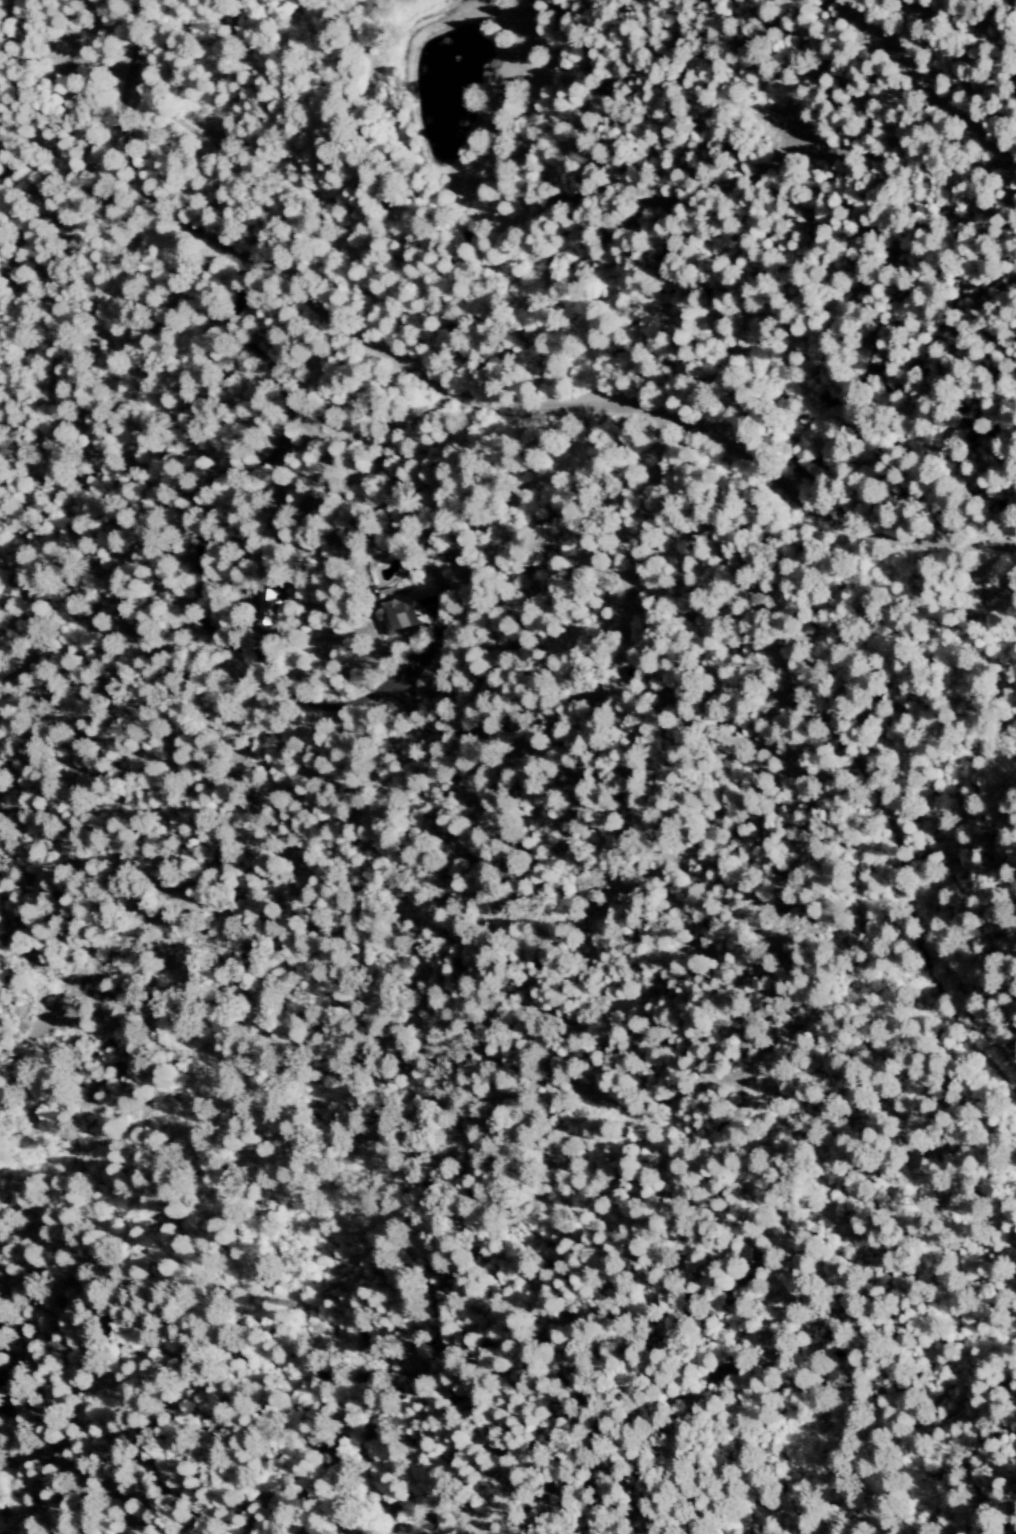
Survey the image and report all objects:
road: (470, 398)
road: (199, 542)
building: (402, 611)

